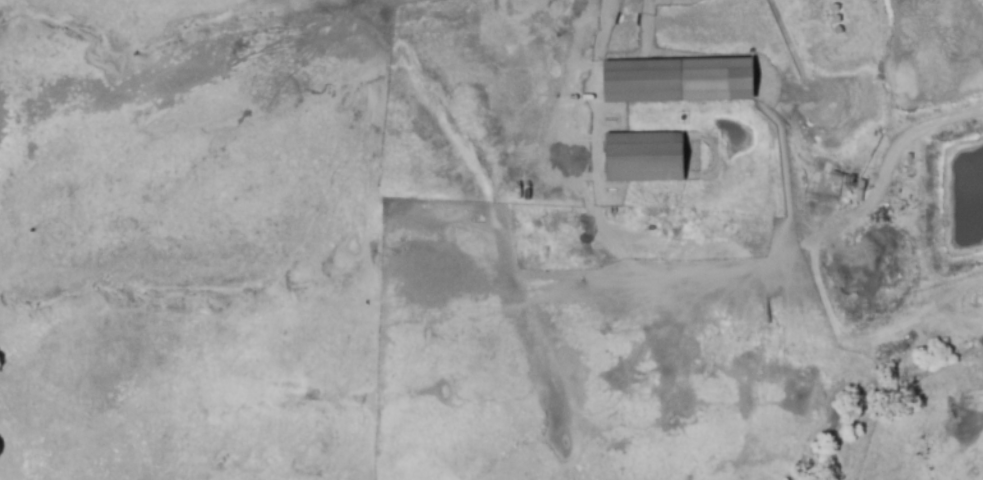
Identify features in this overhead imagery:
building: (676, 81)
building: (643, 159)

